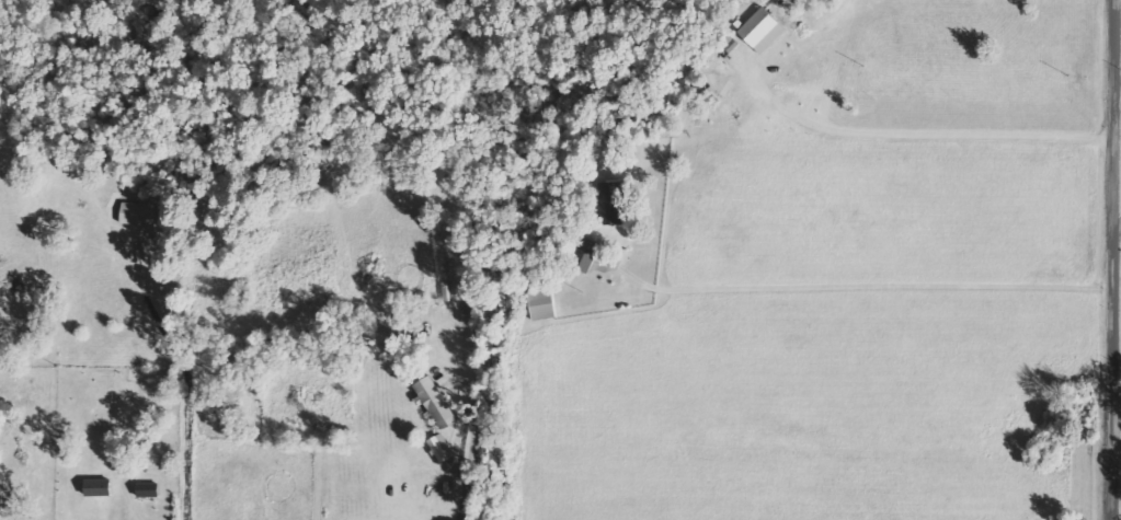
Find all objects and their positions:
building: (764, 28)
building: (613, 201)
building: (136, 212)
building: (592, 252)
road: (1117, 259)
building: (546, 304)
building: (437, 402)
building: (101, 487)
building: (149, 489)

